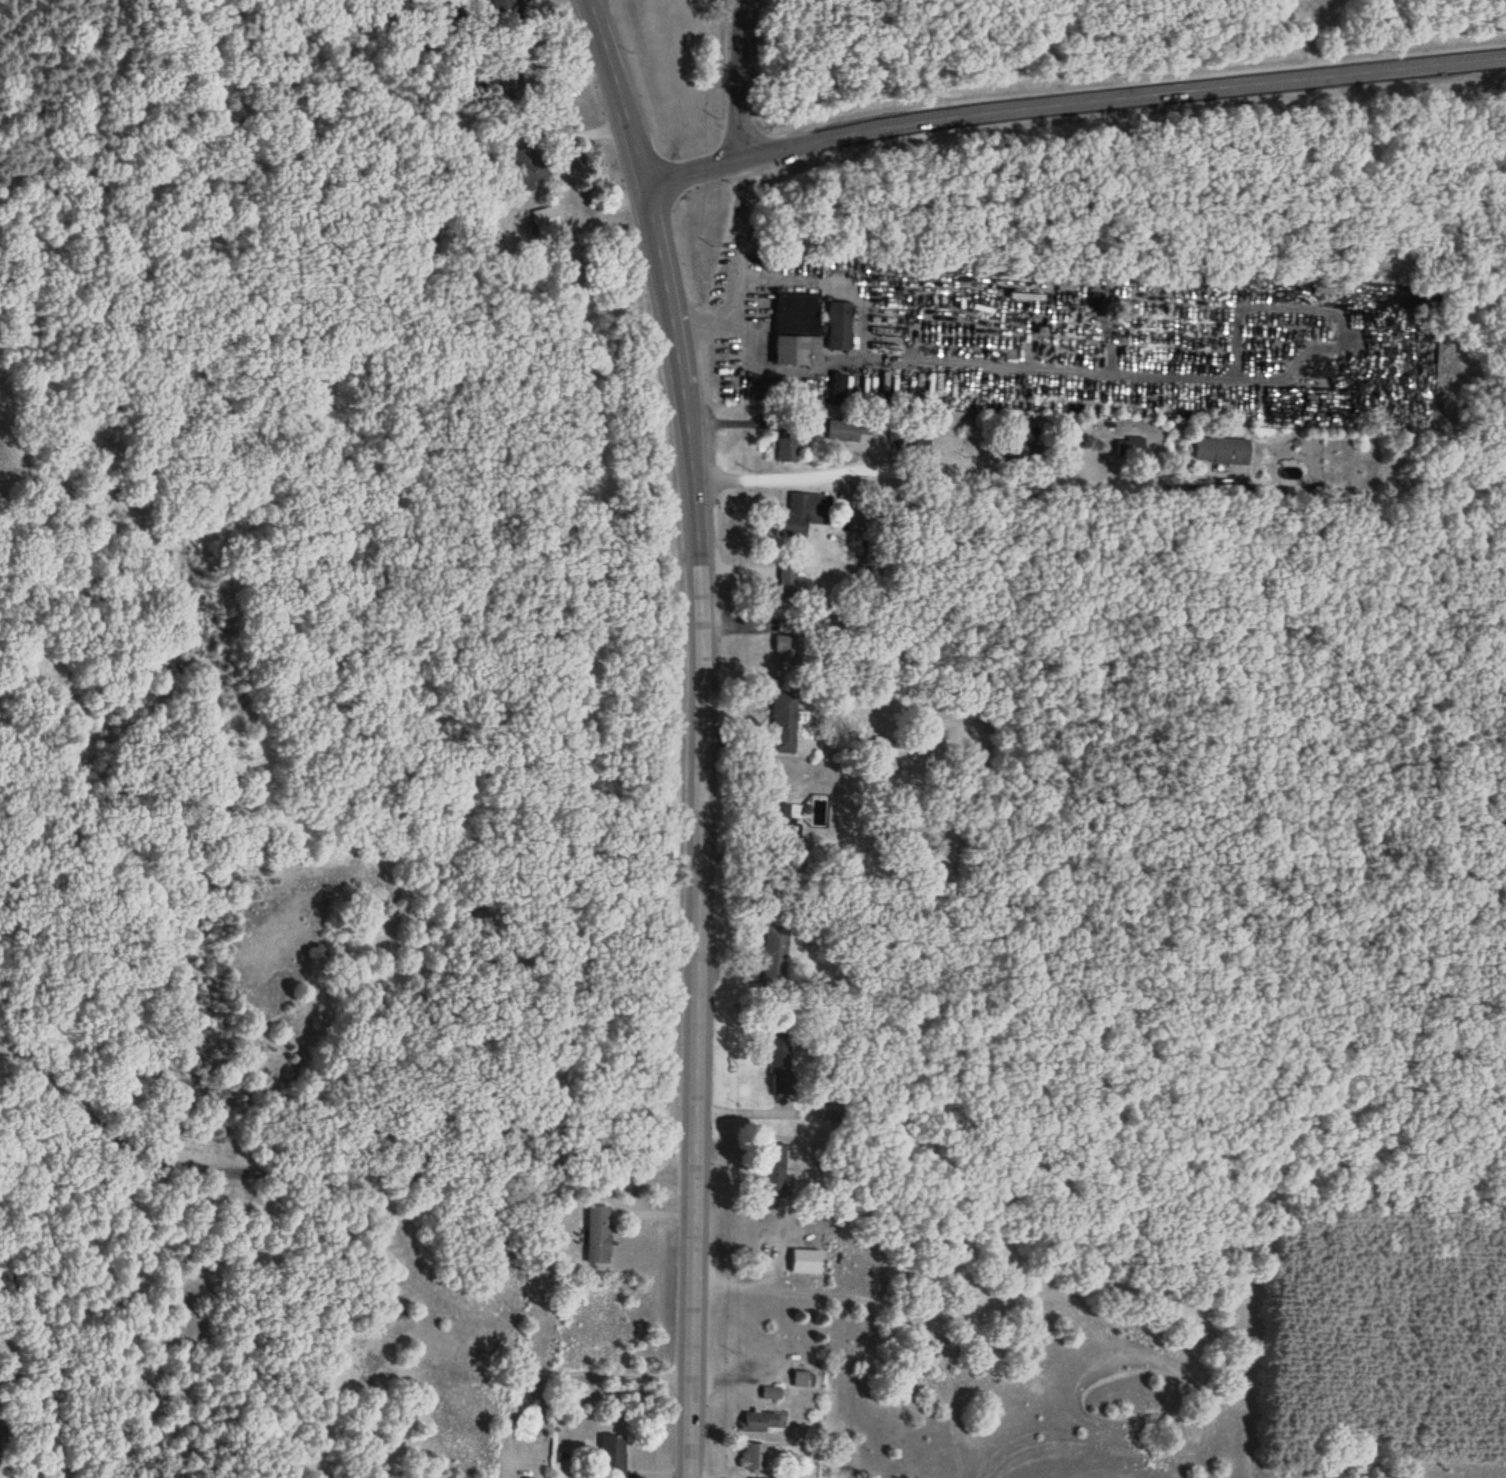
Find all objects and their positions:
building: (497, 3)
road: (736, 82)
road: (614, 93)
road: (1072, 106)
building: (529, 167)
building: (539, 223)
building: (798, 313)
building: (840, 327)
building: (799, 352)
building: (836, 394)
building: (848, 431)
building: (788, 448)
building: (1127, 448)
building: (1222, 451)
road: (966, 478)
building: (806, 513)
building: (789, 582)
building: (785, 724)
building: (816, 812)
road: (696, 830)
building: (770, 954)
building: (778, 1065)
building: (770, 1173)
road: (322, 1175)
building: (596, 1235)
building: (800, 1375)
building: (772, 1394)
building: (763, 1422)
building: (613, 1455)
building: (752, 1458)

